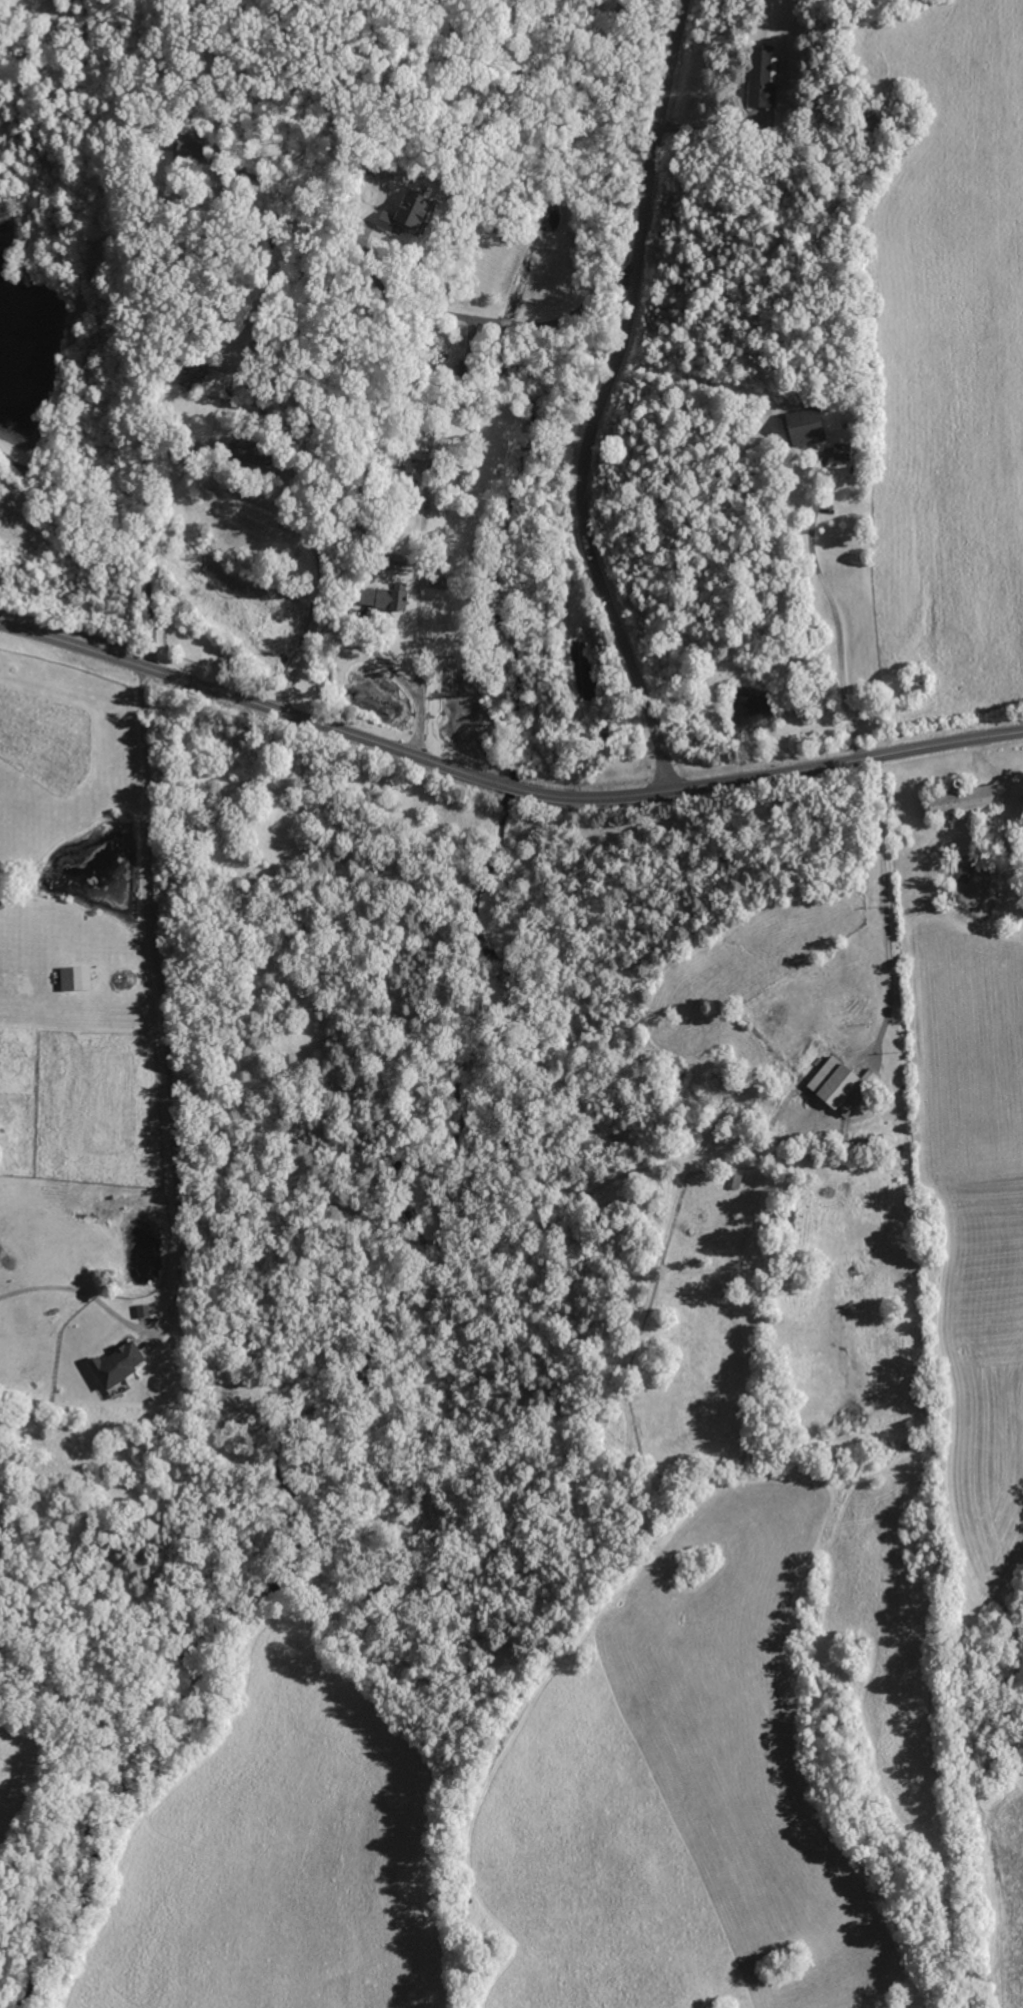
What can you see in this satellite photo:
building: (757, 78)
road: (713, 129)
building: (399, 211)
road: (130, 220)
road: (147, 284)
road: (414, 306)
road: (579, 308)
road: (505, 323)
building: (189, 370)
road: (605, 399)
building: (799, 427)
building: (420, 445)
building: (379, 597)
road: (419, 597)
road: (832, 610)
road: (311, 619)
road: (408, 682)
road: (502, 781)
building: (957, 801)
road: (886, 907)
building: (71, 979)
road: (159, 996)
building: (832, 1087)
building: (139, 1311)
building: (110, 1364)

